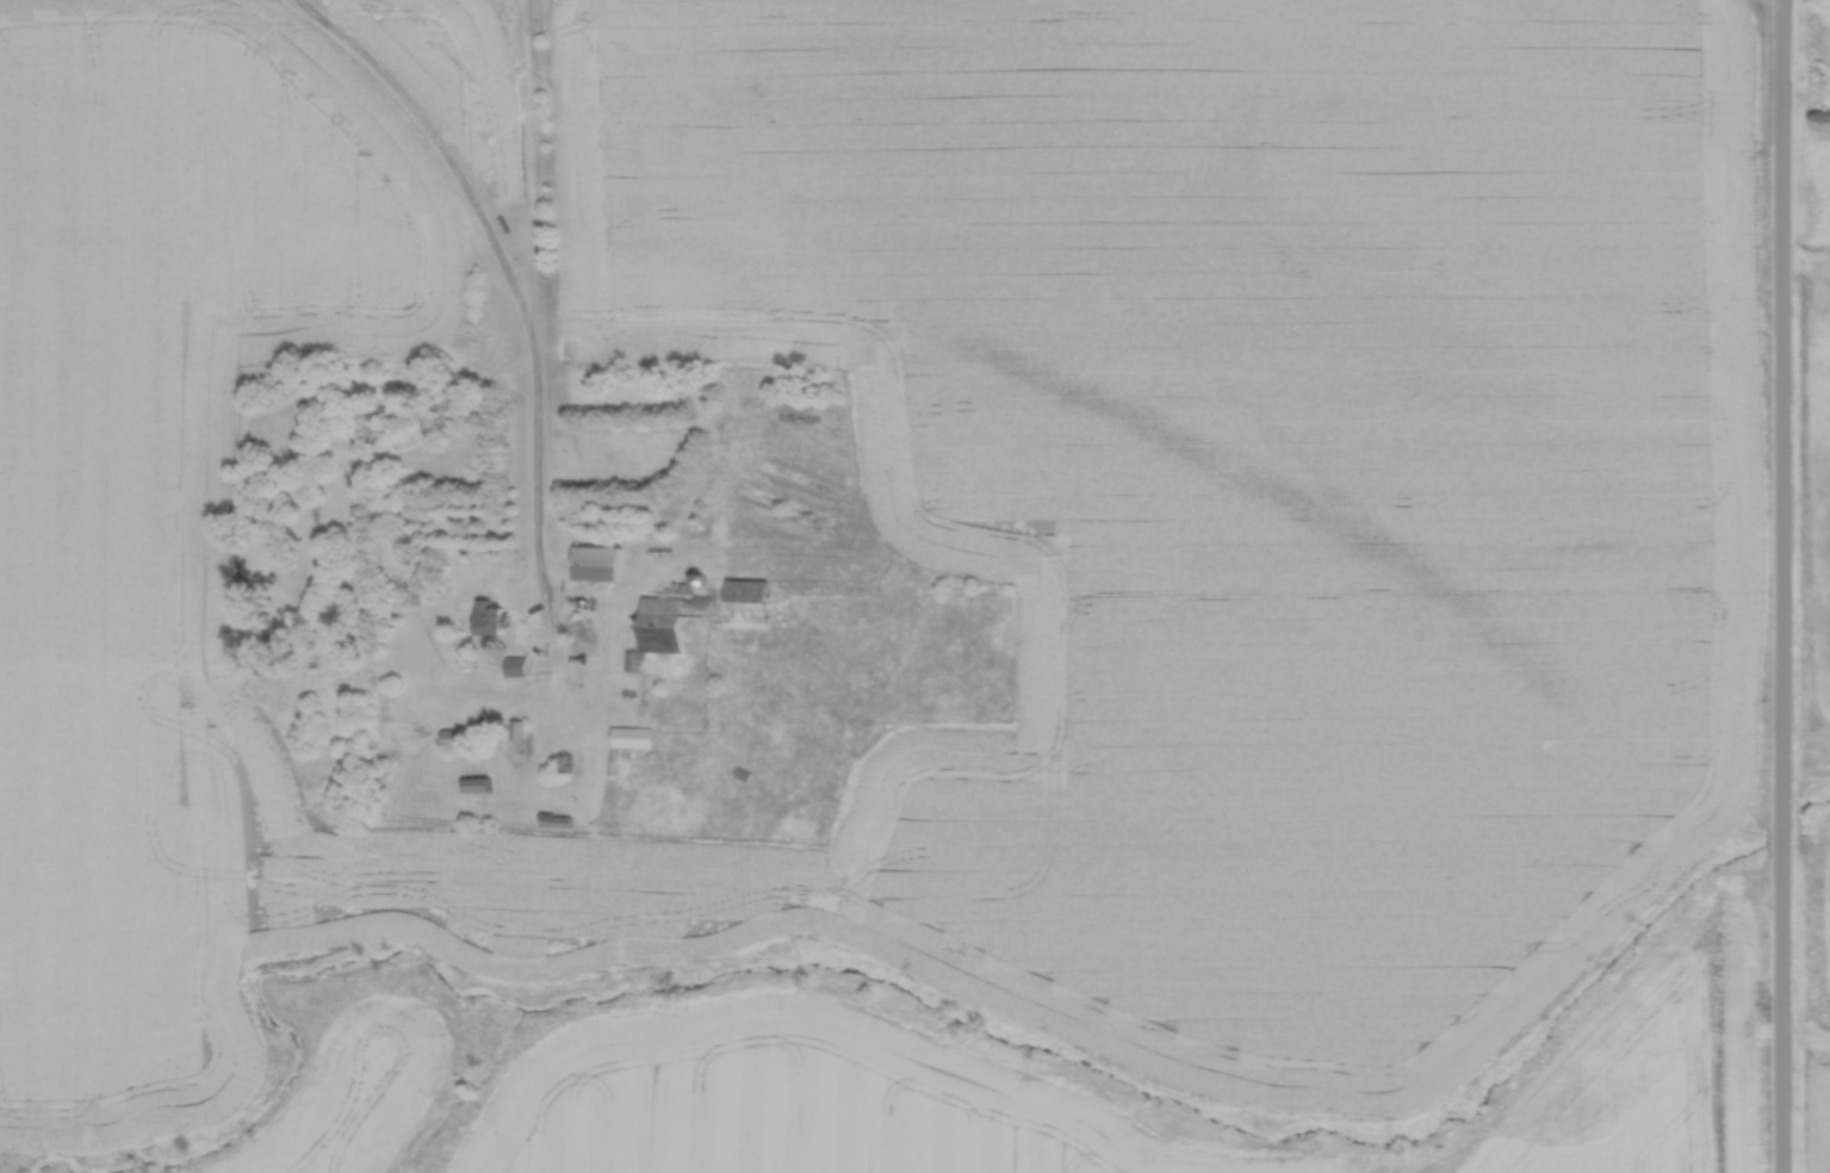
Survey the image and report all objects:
building: (1820, 12)
building: (1820, 119)
road: (527, 305)
building: (596, 563)
road: (1779, 585)
building: (747, 601)
building: (491, 619)
building: (658, 628)
building: (631, 736)
building: (477, 784)

